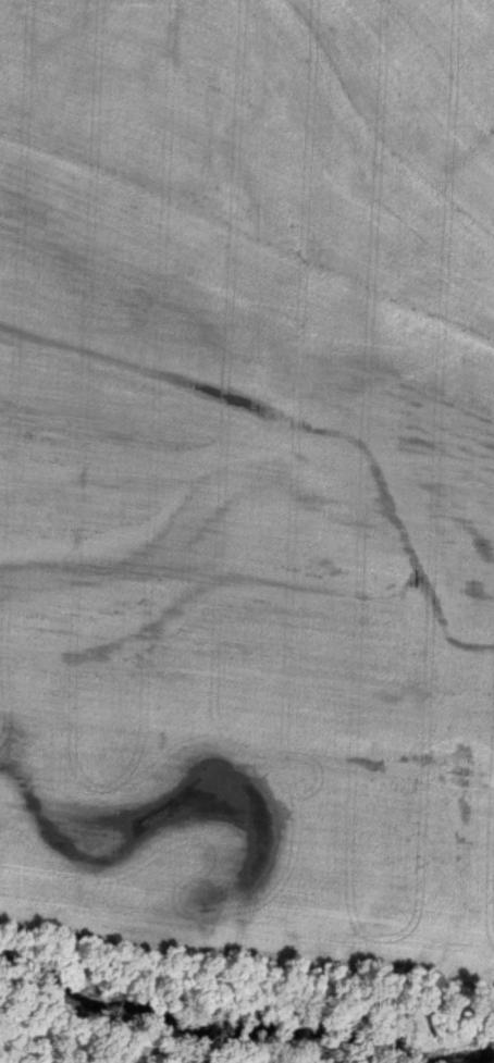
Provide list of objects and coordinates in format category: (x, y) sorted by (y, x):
river: (239, 1027)

